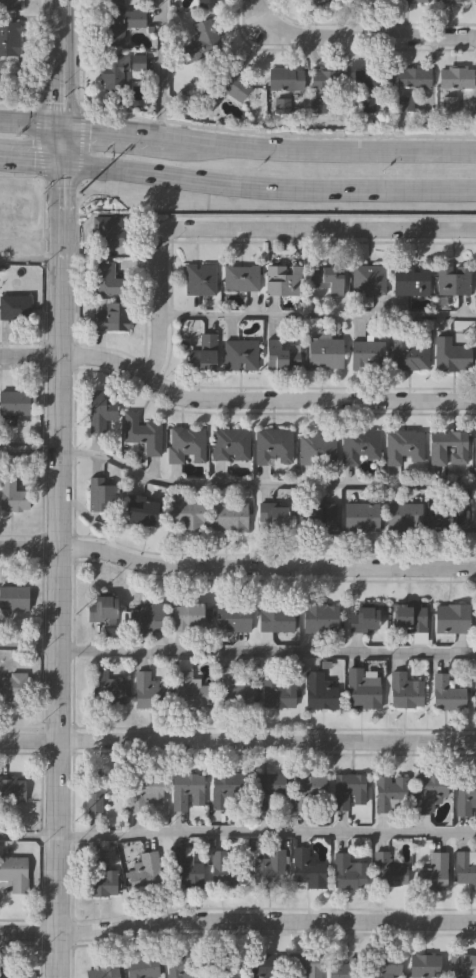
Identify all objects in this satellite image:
building: (405, 0)
building: (113, 1)
building: (331, 1)
building: (368, 1)
building: (450, 1)
building: (208, 3)
building: (475, 3)
building: (9, 4)
building: (121, 23)
building: (9, 38)
road: (354, 38)
building: (202, 41)
building: (120, 69)
road: (162, 70)
building: (370, 77)
building: (413, 77)
building: (456, 77)
road: (46, 81)
road: (68, 81)
building: (294, 83)
building: (325, 85)
building: (224, 87)
park: (16, 96)
road: (33, 120)
traffic signals: (46, 122)
traffic signals: (67, 125)
road: (144, 138)
road: (348, 153)
traffic signals: (58, 162)
road: (237, 186)
building: (108, 231)
road: (246, 231)
building: (6, 234)
road: (28, 260)
building: (240, 276)
building: (453, 277)
building: (108, 278)
building: (328, 278)
building: (369, 278)
building: (411, 278)
building: (200, 279)
building: (283, 280)
building: (14, 309)
building: (112, 315)
road: (317, 316)
building: (203, 351)
building: (324, 351)
building: (408, 352)
building: (368, 353)
building: (451, 353)
building: (239, 354)
building: (278, 354)
road: (233, 398)
building: (13, 404)
building: (98, 410)
building: (140, 433)
building: (359, 443)
building: (185, 444)
building: (228, 444)
building: (271, 445)
building: (403, 445)
building: (317, 446)
building: (437, 448)
building: (475, 449)
road: (234, 484)
building: (102, 493)
building: (11, 496)
building: (141, 510)
building: (229, 513)
building: (187, 514)
building: (272, 514)
building: (404, 514)
building: (362, 515)
building: (447, 515)
building: (475, 515)
building: (318, 516)
road: (236, 568)
road: (56, 569)
building: (13, 600)
building: (101, 608)
building: (147, 615)
building: (189, 615)
building: (320, 615)
building: (409, 615)
building: (233, 616)
building: (275, 616)
building: (364, 616)
building: (452, 617)
road: (237, 653)
building: (13, 687)
building: (107, 689)
building: (192, 689)
building: (235, 689)
building: (363, 689)
building: (149, 691)
building: (319, 691)
building: (406, 692)
building: (446, 693)
building: (277, 694)
building: (475, 696)
road: (238, 741)
building: (226, 787)
building: (266, 787)
building: (99, 788)
building: (187, 789)
building: (145, 790)
building: (309, 790)
building: (348, 790)
building: (11, 791)
building: (429, 791)
building: (389, 792)
building: (465, 794)
road: (237, 830)
building: (225, 866)
building: (270, 866)
building: (184, 867)
building: (308, 868)
building: (388, 868)
building: (465, 868)
building: (348, 870)
building: (145, 871)
building: (433, 872)
building: (13, 875)
building: (100, 877)
road: (237, 922)
building: (384, 964)
building: (425, 964)
building: (303, 965)
building: (180, 966)
building: (224, 966)
building: (463, 966)
building: (262, 967)
building: (141, 969)
building: (344, 970)
building: (104, 972)
building: (7, 977)

